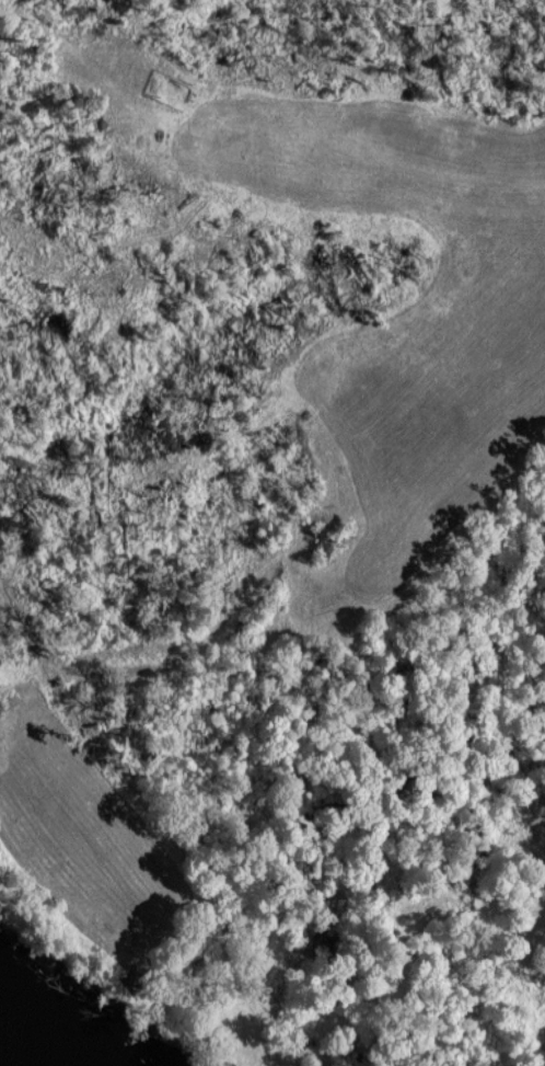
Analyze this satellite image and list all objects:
road: (158, 823)
river: (7, 1059)

